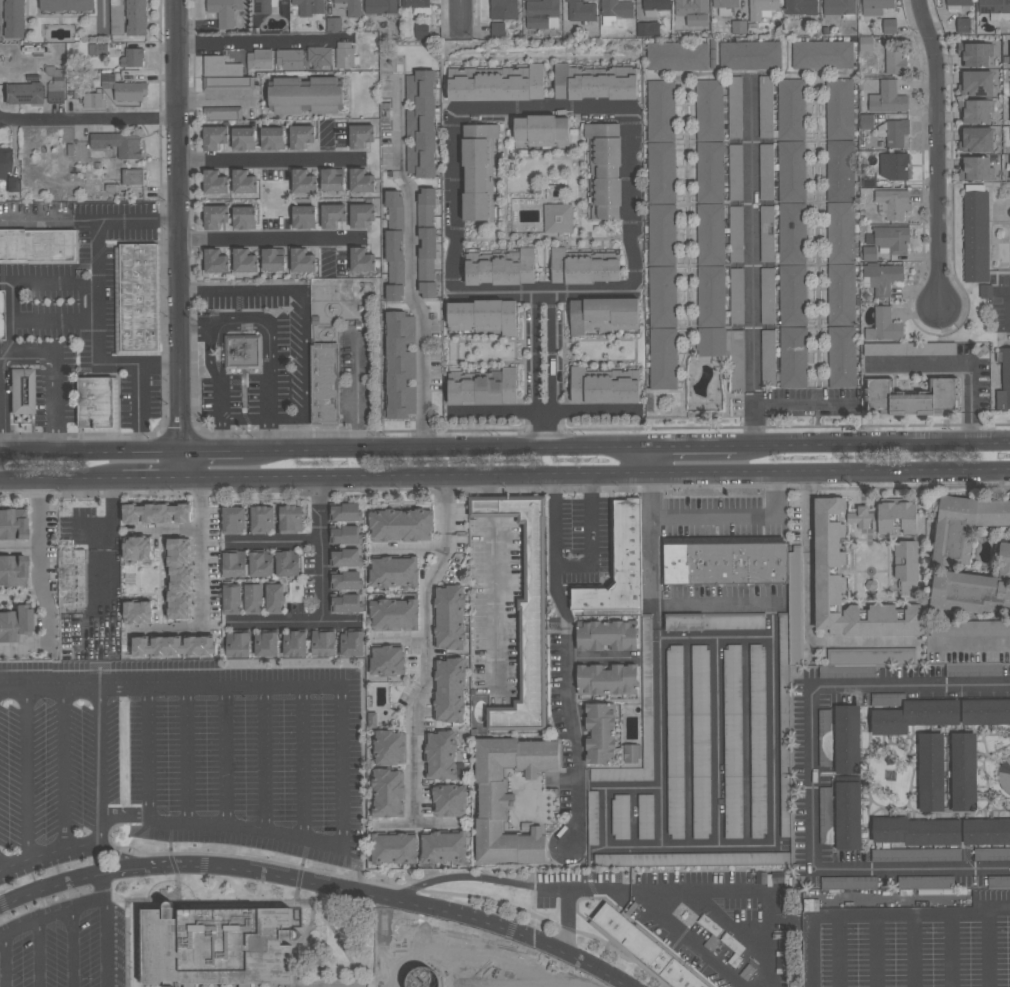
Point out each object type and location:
building: (415, 3)
building: (725, 3)
building: (656, 4)
building: (956, 4)
building: (67, 5)
building: (264, 6)
building: (380, 6)
building: (875, 6)
building: (309, 7)
building: (350, 7)
building: (801, 7)
building: (839, 7)
building: (616, 8)
building: (995, 8)
building: (503, 9)
building: (761, 9)
building: (422, 10)
building: (580, 10)
building: (224, 11)
building: (693, 11)
building: (542, 14)
road: (463, 16)
building: (136, 17)
building: (12, 18)
building: (334, 24)
building: (890, 25)
building: (963, 25)
building: (498, 29)
building: (648, 29)
road: (254, 41)
building: (975, 53)
building: (822, 54)
building: (345, 55)
building: (750, 55)
building: (677, 56)
building: (133, 57)
building: (319, 57)
building: (289, 58)
building: (259, 59)
building: (894, 59)
building: (224, 75)
building: (593, 83)
building: (977, 83)
building: (499, 84)
building: (125, 89)
building: (23, 93)
building: (305, 95)
road: (215, 97)
building: (888, 98)
building: (93, 100)
building: (765, 106)
building: (735, 107)
road: (640, 108)
building: (791, 109)
building: (661, 110)
building: (977, 111)
road: (89, 121)
building: (421, 123)
building: (541, 131)
building: (896, 132)
building: (361, 135)
building: (301, 136)
building: (214, 137)
building: (243, 138)
building: (272, 138)
building: (976, 140)
building: (123, 143)
road: (937, 154)
road: (272, 160)
building: (4, 164)
building: (893, 166)
building: (976, 169)
building: (604, 170)
building: (478, 171)
building: (766, 172)
building: (133, 176)
building: (331, 180)
building: (361, 180)
building: (303, 181)
building: (215, 182)
building: (244, 182)
building: (426, 204)
building: (892, 204)
building: (394, 207)
road: (89, 211)
building: (332, 214)
building: (361, 214)
building: (215, 216)
building: (303, 216)
building: (244, 217)
building: (558, 218)
building: (710, 218)
building: (767, 233)
building: (841, 233)
road: (179, 238)
road: (752, 238)
building: (892, 239)
road: (269, 241)
building: (37, 245)
building: (427, 250)
building: (394, 253)
building: (361, 259)
building: (244, 260)
building: (272, 260)
building: (302, 260)
building: (215, 261)
road: (409, 264)
building: (792, 264)
building: (662, 265)
building: (583, 267)
building: (500, 268)
building: (882, 278)
road: (17, 281)
road: (240, 290)
building: (428, 290)
building: (394, 292)
building: (767, 295)
building: (138, 298)
road: (54, 314)
building: (603, 315)
building: (0, 316)
building: (483, 316)
building: (884, 325)
road: (100, 328)
road: (194, 331)
road: (268, 339)
building: (909, 348)
road: (210, 352)
building: (243, 352)
building: (768, 357)
building: (736, 360)
road: (959, 363)
building: (400, 365)
road: (303, 370)
road: (552, 371)
road: (536, 372)
road: (54, 378)
building: (1000, 380)
building: (324, 383)
building: (484, 389)
building: (20, 391)
road: (220, 395)
building: (912, 397)
building: (98, 402)
road: (800, 405)
road: (138, 411)
road: (542, 412)
road: (245, 418)
road: (753, 421)
road: (1001, 424)
road: (270, 436)
road: (221, 437)
road: (872, 446)
road: (693, 448)
road: (602, 449)
road: (398, 452)
road: (212, 456)
road: (91, 458)
road: (652, 462)
road: (364, 473)
road: (890, 474)
road: (568, 475)
road: (622, 475)
road: (711, 475)
road: (153, 477)
road: (60, 479)
road: (490, 484)
road: (491, 506)
building: (159, 512)
road: (735, 517)
building: (885, 518)
building: (263, 520)
road: (554, 520)
building: (401, 524)
building: (12, 525)
building: (964, 526)
road: (173, 527)
road: (97, 533)
road: (590, 539)
road: (275, 540)
road: (652, 541)
road: (322, 546)
road: (408, 546)
road: (20, 548)
building: (346, 558)
road: (41, 563)
building: (726, 564)
building: (618, 566)
building: (905, 566)
building: (822, 570)
building: (12, 571)
road: (112, 571)
building: (73, 579)
building: (183, 579)
building: (257, 581)
road: (209, 586)
building: (974, 589)
building: (394, 592)
road: (712, 600)
road: (493, 602)
building: (524, 606)
road: (808, 608)
building: (617, 612)
road: (293, 621)
building: (714, 622)
building: (14, 625)
building: (607, 636)
road: (716, 638)
road: (403, 639)
building: (295, 644)
road: (971, 645)
building: (168, 646)
road: (21, 648)
road: (428, 649)
building: (872, 656)
road: (599, 658)
building: (389, 660)
building: (973, 669)
building: (847, 671)
building: (607, 680)
road: (170, 689)
building: (648, 691)
building: (887, 698)
building: (448, 701)
road: (566, 709)
building: (940, 714)
building: (372, 720)
building: (786, 731)
building: (602, 732)
road: (996, 733)
building: (824, 737)
building: (701, 739)
building: (759, 739)
building: (675, 740)
building: (733, 740)
road: (747, 741)
road: (688, 742)
road: (718, 742)
road: (910, 744)
road: (998, 747)
building: (631, 753)
road: (149, 754)
road: (100, 755)
road: (187, 756)
road: (226, 758)
parking lot: (180, 759)
road: (264, 761)
road: (304, 764)
road: (982, 765)
road: (341, 766)
road: (64, 770)
building: (947, 771)
park: (933, 773)
building: (389, 775)
road: (838, 775)
building: (890, 775)
building: (1004, 775)
road: (27, 776)
road: (811, 777)
building: (847, 777)
road: (598, 789)
road: (909, 790)
building: (514, 800)
road: (997, 809)
road: (875, 811)
building: (622, 816)
building: (646, 817)
road: (662, 817)
building: (594, 818)
road: (418, 824)
road: (869, 826)
road: (221, 828)
building: (941, 831)
road: (100, 832)
road: (112, 841)
road: (661, 847)
road: (599, 849)
building: (418, 851)
road: (48, 852)
building: (916, 854)
building: (992, 854)
building: (696, 860)
road: (289, 865)
road: (464, 877)
building: (926, 881)
building: (999, 881)
building: (849, 882)
road: (318, 883)
road: (747, 890)
road: (584, 891)
road: (228, 901)
road: (51, 912)
road: (880, 915)
road: (127, 918)
parking lot: (704, 918)
road: (727, 922)
road: (567, 923)
road: (791, 924)
road: (2, 927)
road: (599, 929)
road: (105, 930)
road: (304, 936)
parking lot: (906, 937)
road: (690, 939)
road: (385, 941)
road: (342, 943)
parking lot: (66, 944)
road: (72, 946)
building: (218, 947)
road: (621, 947)
building: (647, 949)
road: (989, 950)
road: (877, 951)
road: (914, 951)
road: (951, 951)
road: (39, 952)
road: (839, 952)
road: (4, 960)
parking lot: (473, 963)
road: (650, 971)
building: (421, 972)

